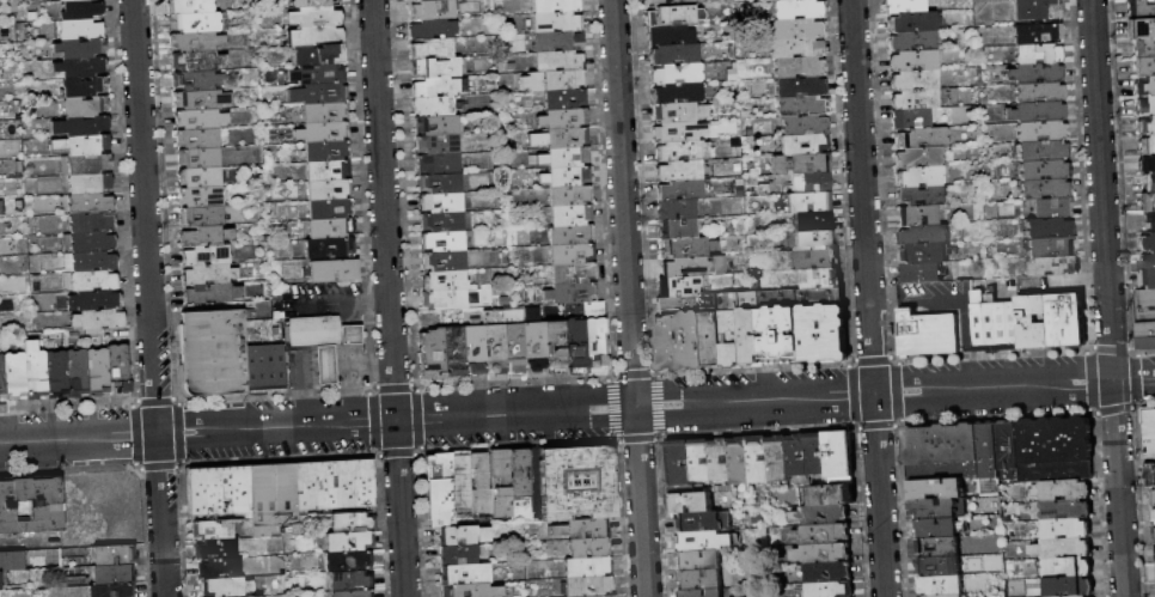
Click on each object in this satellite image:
building: (649, 0)
building: (758, 0)
building: (311, 1)
building: (189, 5)
building: (554, 5)
building: (900, 6)
building: (79, 7)
building: (429, 7)
building: (796, 7)
building: (1138, 8)
building: (668, 10)
building: (1035, 11)
building: (317, 13)
building: (556, 18)
building: (190, 20)
building: (911, 23)
building: (429, 24)
building: (79, 26)
building: (796, 26)
building: (1139, 28)
building: (670, 30)
building: (316, 33)
building: (1038, 33)
building: (556, 37)
building: (195, 38)
building: (912, 42)
building: (428, 44)
building: (80, 45)
building: (794, 45)
building: (1143, 47)
building: (317, 50)
building: (671, 50)
building: (1038, 55)
building: (196, 57)
building: (556, 57)
building: (913, 61)
building: (796, 63)
building: (81, 65)
building: (433, 66)
building: (1143, 66)
building: (318, 69)
building: (673, 71)
building: (560, 75)
building: (1033, 75)
building: (196, 78)
building: (916, 79)
building: (797, 83)
building: (81, 85)
building: (434, 85)
building: (1144, 85)
building: (320, 90)
building: (674, 90)
building: (1037, 93)
building: (563, 95)
building: (196, 98)
building: (917, 99)
building: (432, 102)
building: (799, 103)
building: (82, 104)
building: (1144, 104)
building: (677, 108)
building: (322, 109)
building: (1038, 112)
building: (564, 114)
building: (196, 116)
building: (912, 120)
building: (434, 122)
building: (799, 122)
building: (82, 123)
building: (1144, 124)
building: (324, 128)
building: (678, 128)
building: (1039, 132)
building: (566, 134)
building: (196, 135)
building: (921, 139)
building: (802, 141)
building: (84, 142)
building: (435, 142)
building: (1144, 144)
building: (325, 147)
building: (679, 148)
building: (1040, 152)
building: (567, 153)
building: (196, 156)
building: (918, 159)
building: (436, 162)
building: (797, 163)
building: (1145, 163)
building: (326, 166)
building: (677, 167)
building: (85, 171)
building: (1040, 171)
building: (568, 172)
building: (197, 175)
road: (1077, 175)
road: (1119, 176)
building: (919, 178)
building: (438, 181)
building: (809, 181)
building: (1148, 182)
building: (329, 185)
building: (678, 187)
building: (568, 191)
building: (1041, 191)
building: (197, 194)
road: (862, 196)
building: (922, 196)
building: (86, 200)
building: (439, 200)
building: (808, 200)
building: (1147, 202)
road: (623, 203)
building: (328, 206)
building: (674, 206)
building: (1049, 211)
building: (569, 212)
building: (197, 213)
building: (917, 218)
building: (439, 219)
building: (812, 219)
building: (86, 220)
building: (1148, 220)
building: (330, 225)
building: (676, 225)
building: (1047, 230)
building: (569, 232)
building: (198, 233)
building: (812, 236)
building: (922, 236)
building: (439, 238)
building: (87, 239)
building: (1145, 242)
building: (686, 244)
building: (328, 245)
building: (1049, 250)
building: (570, 251)
building: (198, 254)
building: (921, 254)
building: (813, 257)
building: (88, 258)
building: (440, 258)
building: (1145, 261)
building: (686, 263)
building: (331, 268)
building: (1049, 269)
building: (572, 270)
building: (198, 272)
building: (919, 273)
building: (818, 276)
building: (442, 278)
building: (88, 279)
building: (1147, 279)
building: (679, 284)
building: (572, 291)
building: (204, 292)
building: (447, 297)
road: (148, 298)
road: (387, 298)
road: (1106, 298)
building: (90, 299)
road: (373, 300)
building: (678, 300)
road: (881, 300)
building: (1144, 300)
road: (949, 301)
road: (325, 303)
parking lot: (941, 303)
building: (1145, 317)
building: (91, 319)
building: (1064, 321)
building: (1032, 322)
building: (995, 327)
building: (312, 330)
building: (924, 333)
building: (820, 334)
building: (778, 335)
building: (1145, 335)
building: (513, 336)
building: (750, 336)
building: (731, 337)
building: (493, 339)
building: (710, 339)
building: (472, 340)
building: (594, 340)
building: (453, 341)
building: (574, 341)
building: (678, 341)
building: (430, 342)
building: (554, 342)
building: (532, 343)
road: (1107, 349)
building: (210, 351)
road: (1142, 351)
road: (319, 363)
building: (263, 365)
building: (116, 367)
road: (966, 367)
building: (96, 368)
building: (75, 371)
building: (55, 372)
building: (33, 373)
building: (13, 374)
road: (1130, 378)
building: (1, 379)
road: (1088, 380)
road: (1013, 385)
road: (752, 401)
road: (1143, 404)
road: (1111, 408)
road: (316, 425)
building: (1149, 432)
building: (1056, 450)
building: (989, 451)
building: (1008, 451)
building: (942, 452)
building: (817, 455)
building: (797, 456)
building: (841, 458)
building: (780, 459)
building: (721, 461)
building: (759, 461)
building: (702, 462)
building: (740, 462)
building: (679, 464)
building: (439, 467)
building: (1149, 476)
building: (509, 480)
building: (462, 481)
building: (577, 482)
building: (482, 483)
building: (337, 485)
building: (967, 486)
building: (682, 488)
building: (936, 489)
building: (220, 491)
building: (1065, 491)
building: (832, 495)
road: (878, 495)
building: (275, 499)
building: (1153, 499)
building: (440, 501)
road: (638, 502)
building: (691, 504)
building: (31, 506)
building: (935, 508)
building: (1067, 510)
building: (821, 516)
building: (1154, 517)
building: (354, 522)
building: (699, 524)
building: (214, 529)
building: (582, 529)
building: (935, 529)
building: (1067, 529)
building: (463, 535)
building: (821, 535)
building: (350, 541)
building: (704, 543)
building: (985, 544)
building: (589, 547)
building: (939, 548)
building: (1063, 548)
building: (218, 549)
building: (1154, 553)
building: (823, 554)
building: (115, 555)
building: (459, 555)
building: (348, 560)
building: (13, 561)
building: (699, 561)
building: (980, 564)
building: (588, 567)
building: (939, 567)
building: (1068, 567)
building: (220, 568)
building: (830, 573)
building: (114, 574)
building: (466, 574)
building: (350, 580)
building: (705, 580)
building: (0, 581)
building: (589, 586)
building: (941, 586)
building: (1070, 586)
building: (227, 587)
building: (112, 590)
building: (830, 590)
building: (472, 591)
building: (353, 592)
building: (702, 593)
building: (0, 595)
building: (251, 596)
building: (258, 596)
building: (599, 596)
building: (958, 596)
building: (1081, 596)

